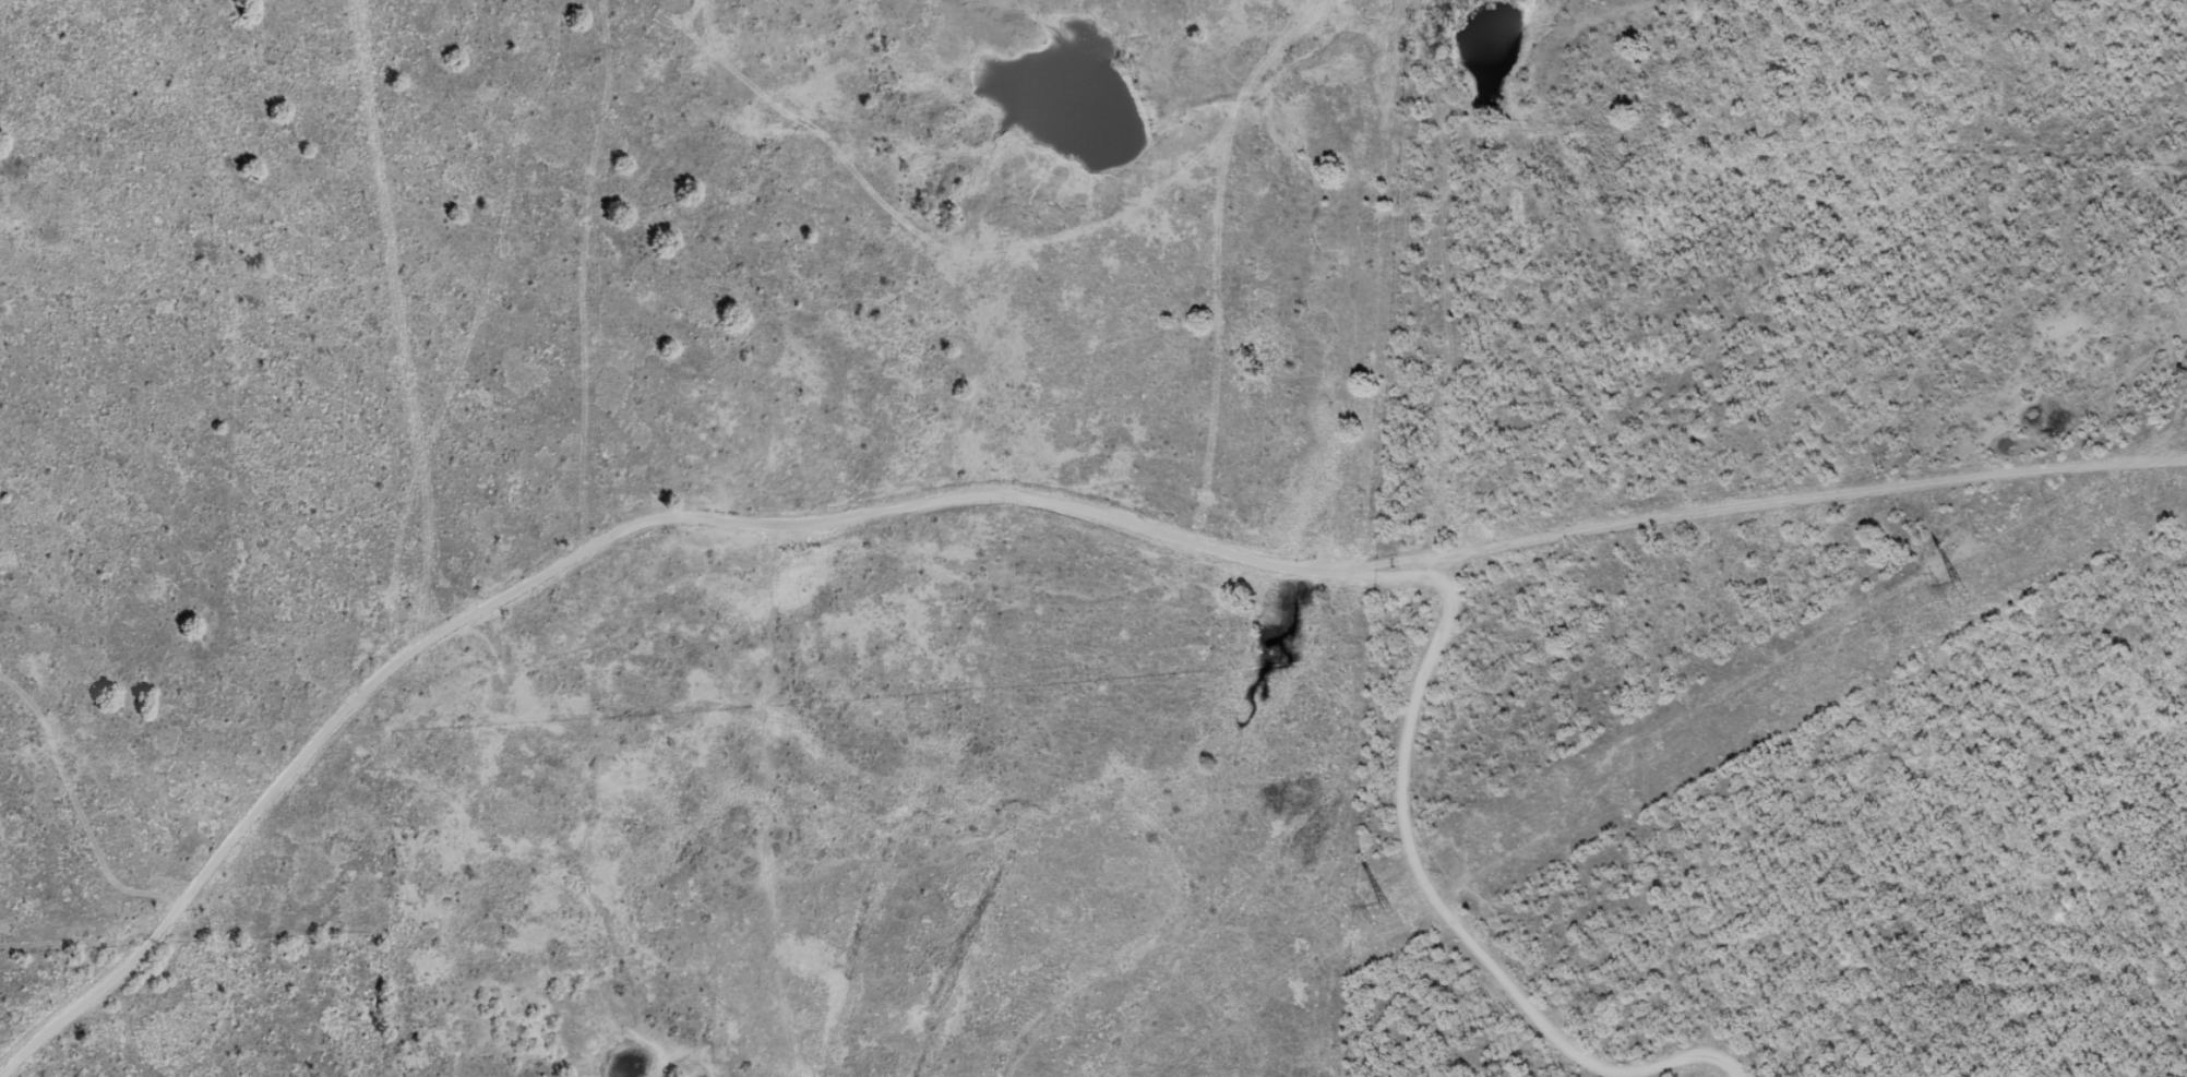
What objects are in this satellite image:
road: (1390, 284)
road: (1009, 511)
power tower: (1958, 588)
power tower: (1389, 909)

